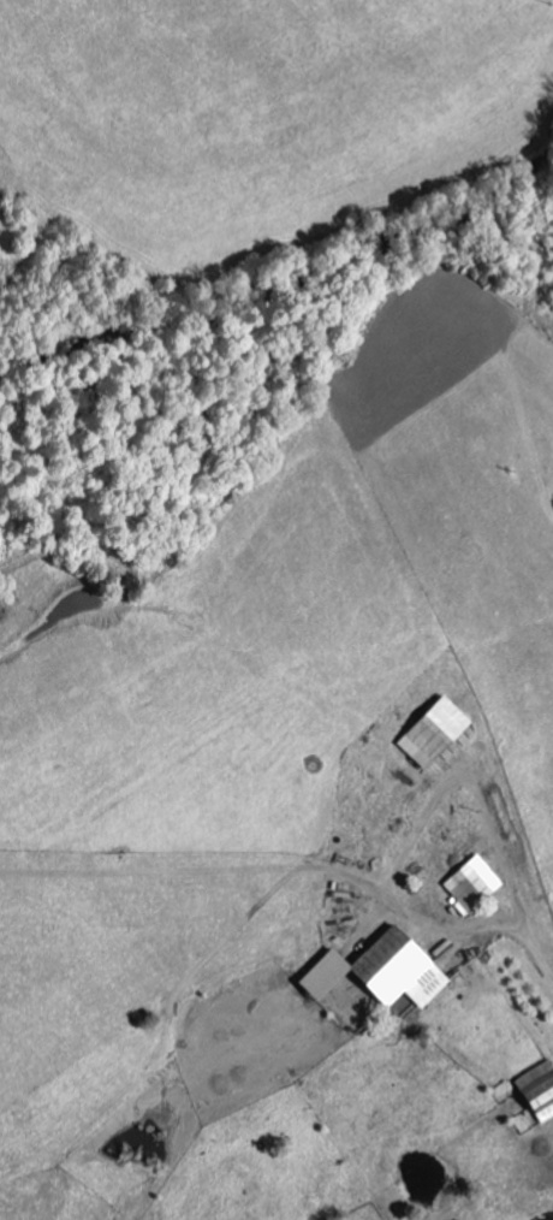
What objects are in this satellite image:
building: (439, 733)
building: (476, 886)
road: (519, 888)
building: (405, 970)
building: (541, 1090)

